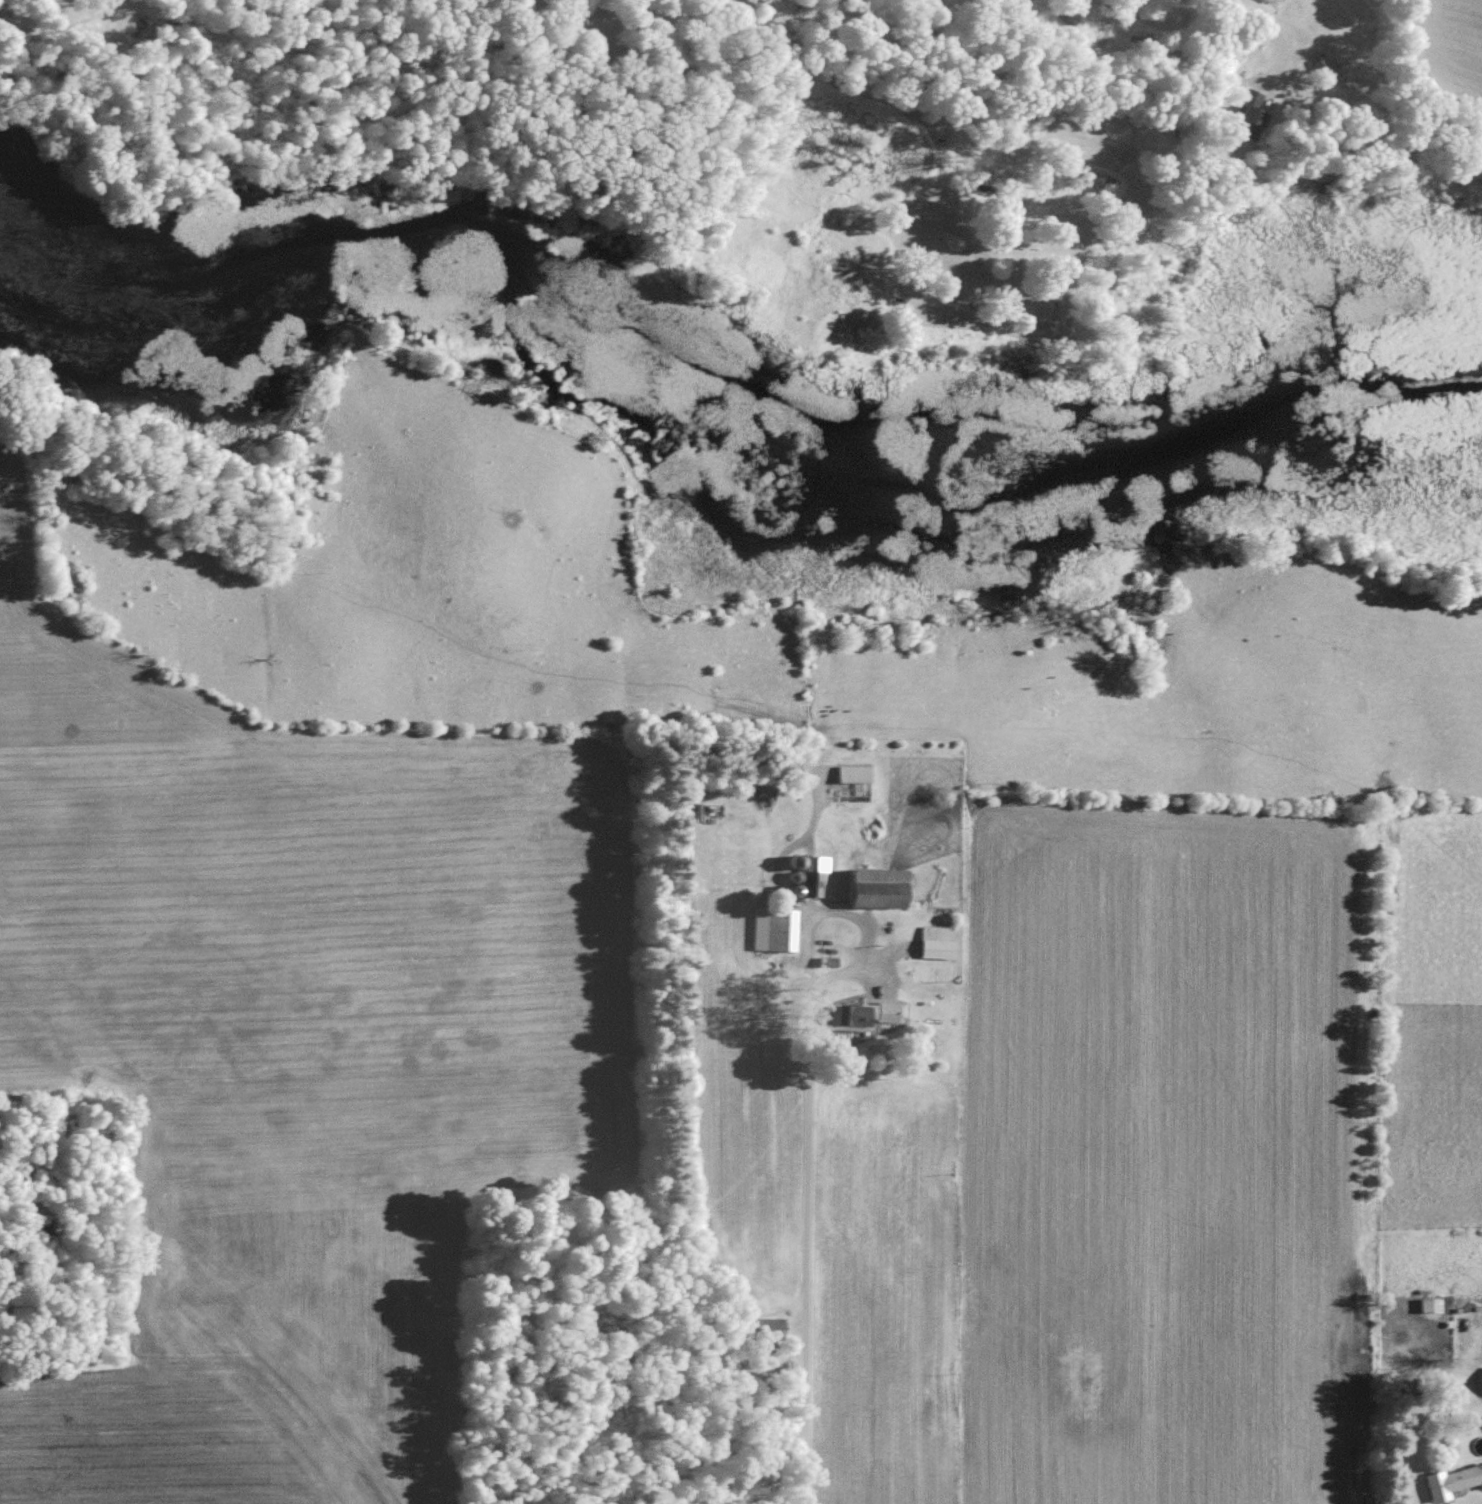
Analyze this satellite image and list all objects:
building: (1250, 109)
river: (721, 418)
building: (854, 773)
building: (813, 873)
building: (878, 886)
building: (774, 928)
building: (938, 941)
building: (859, 1014)
road: (801, 1176)
building: (765, 1323)
building: (1452, 1480)

